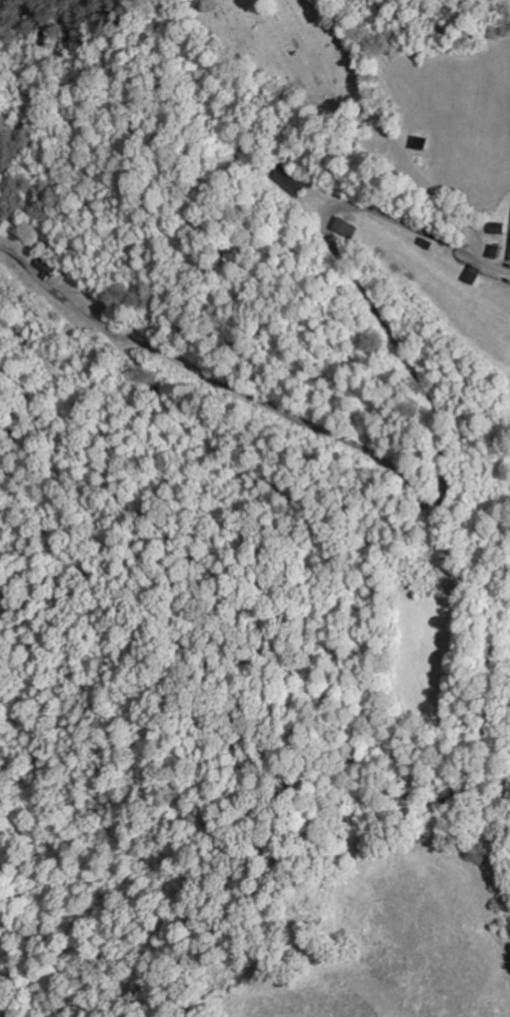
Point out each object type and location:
park: (279, 55)
road: (396, 145)
building: (289, 179)
building: (496, 227)
building: (344, 228)
building: (509, 255)
building: (45, 267)
building: (470, 274)

